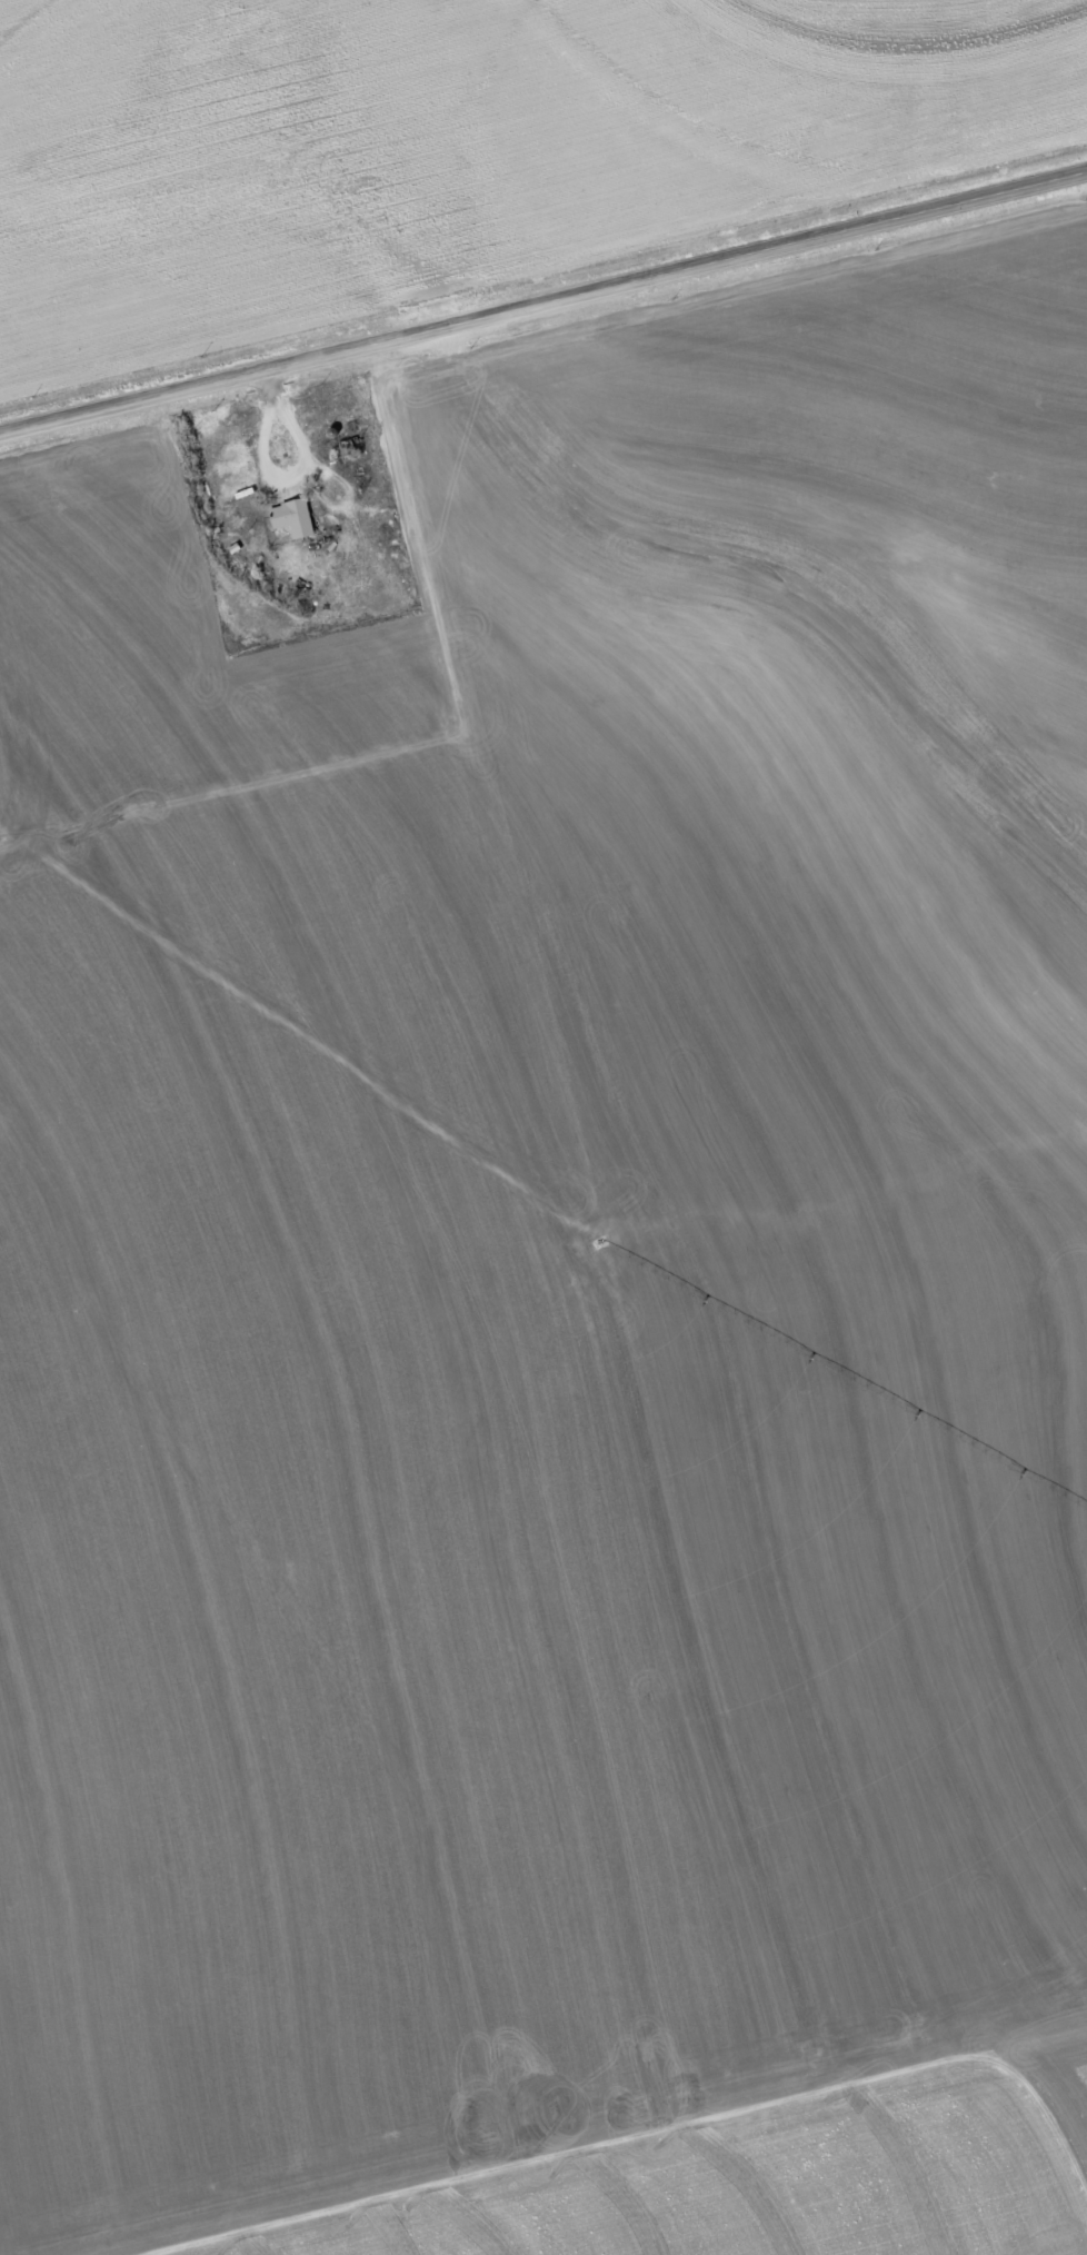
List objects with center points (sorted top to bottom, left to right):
road: (542, 297)
building: (290, 515)
road: (651, 2149)

